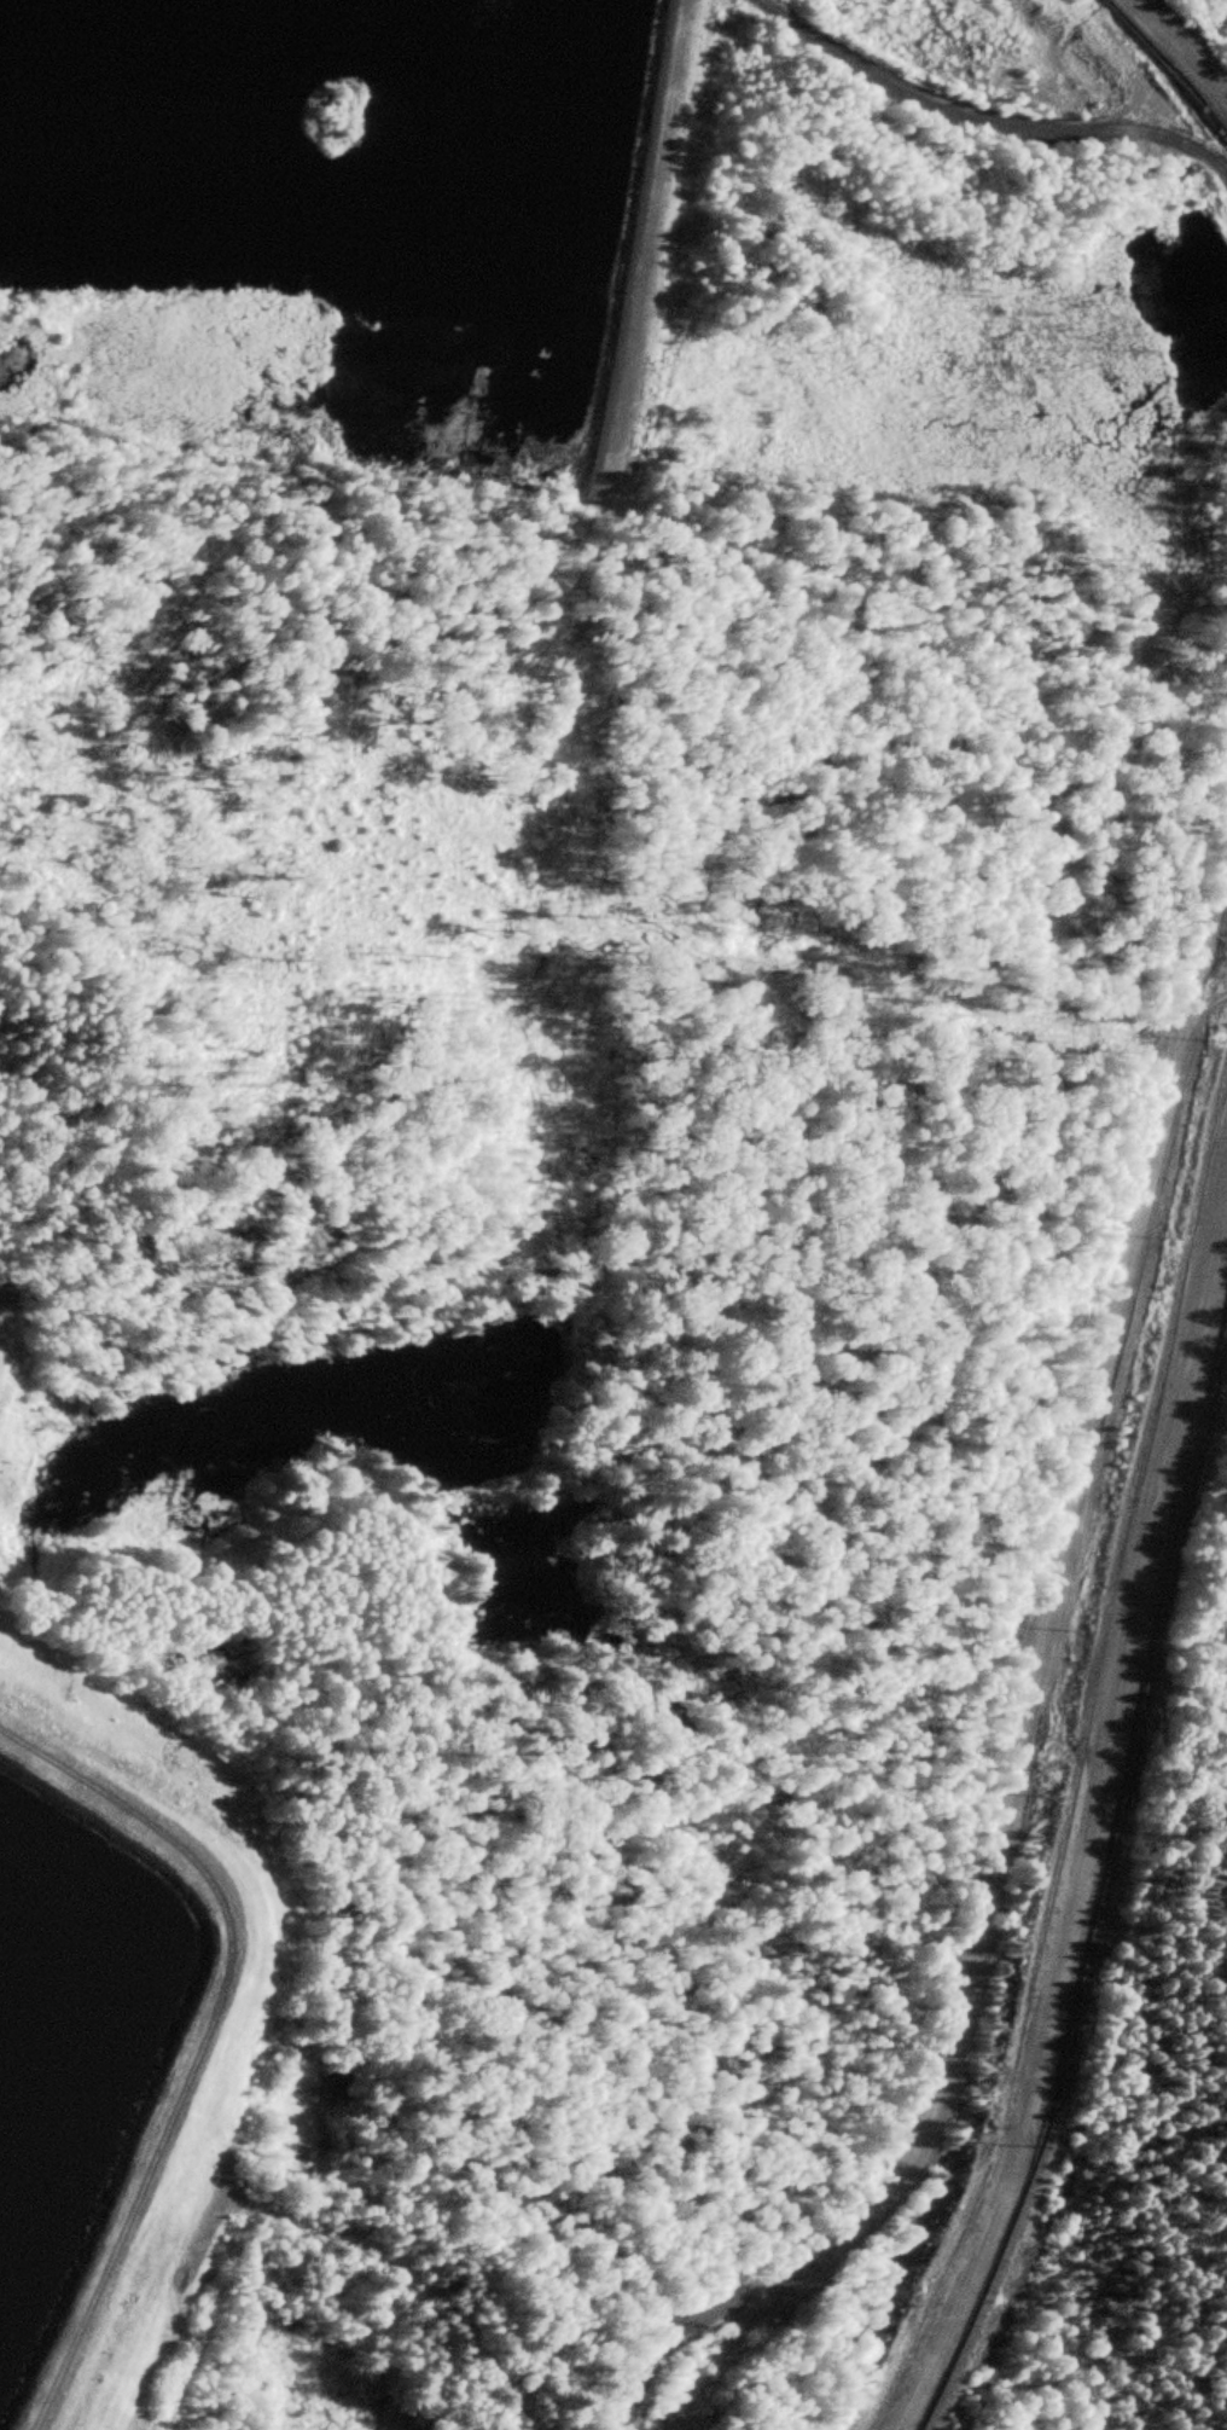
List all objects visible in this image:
road: (1182, 47)
road: (1065, 1756)
road: (828, 2228)
road: (1002, 2237)

